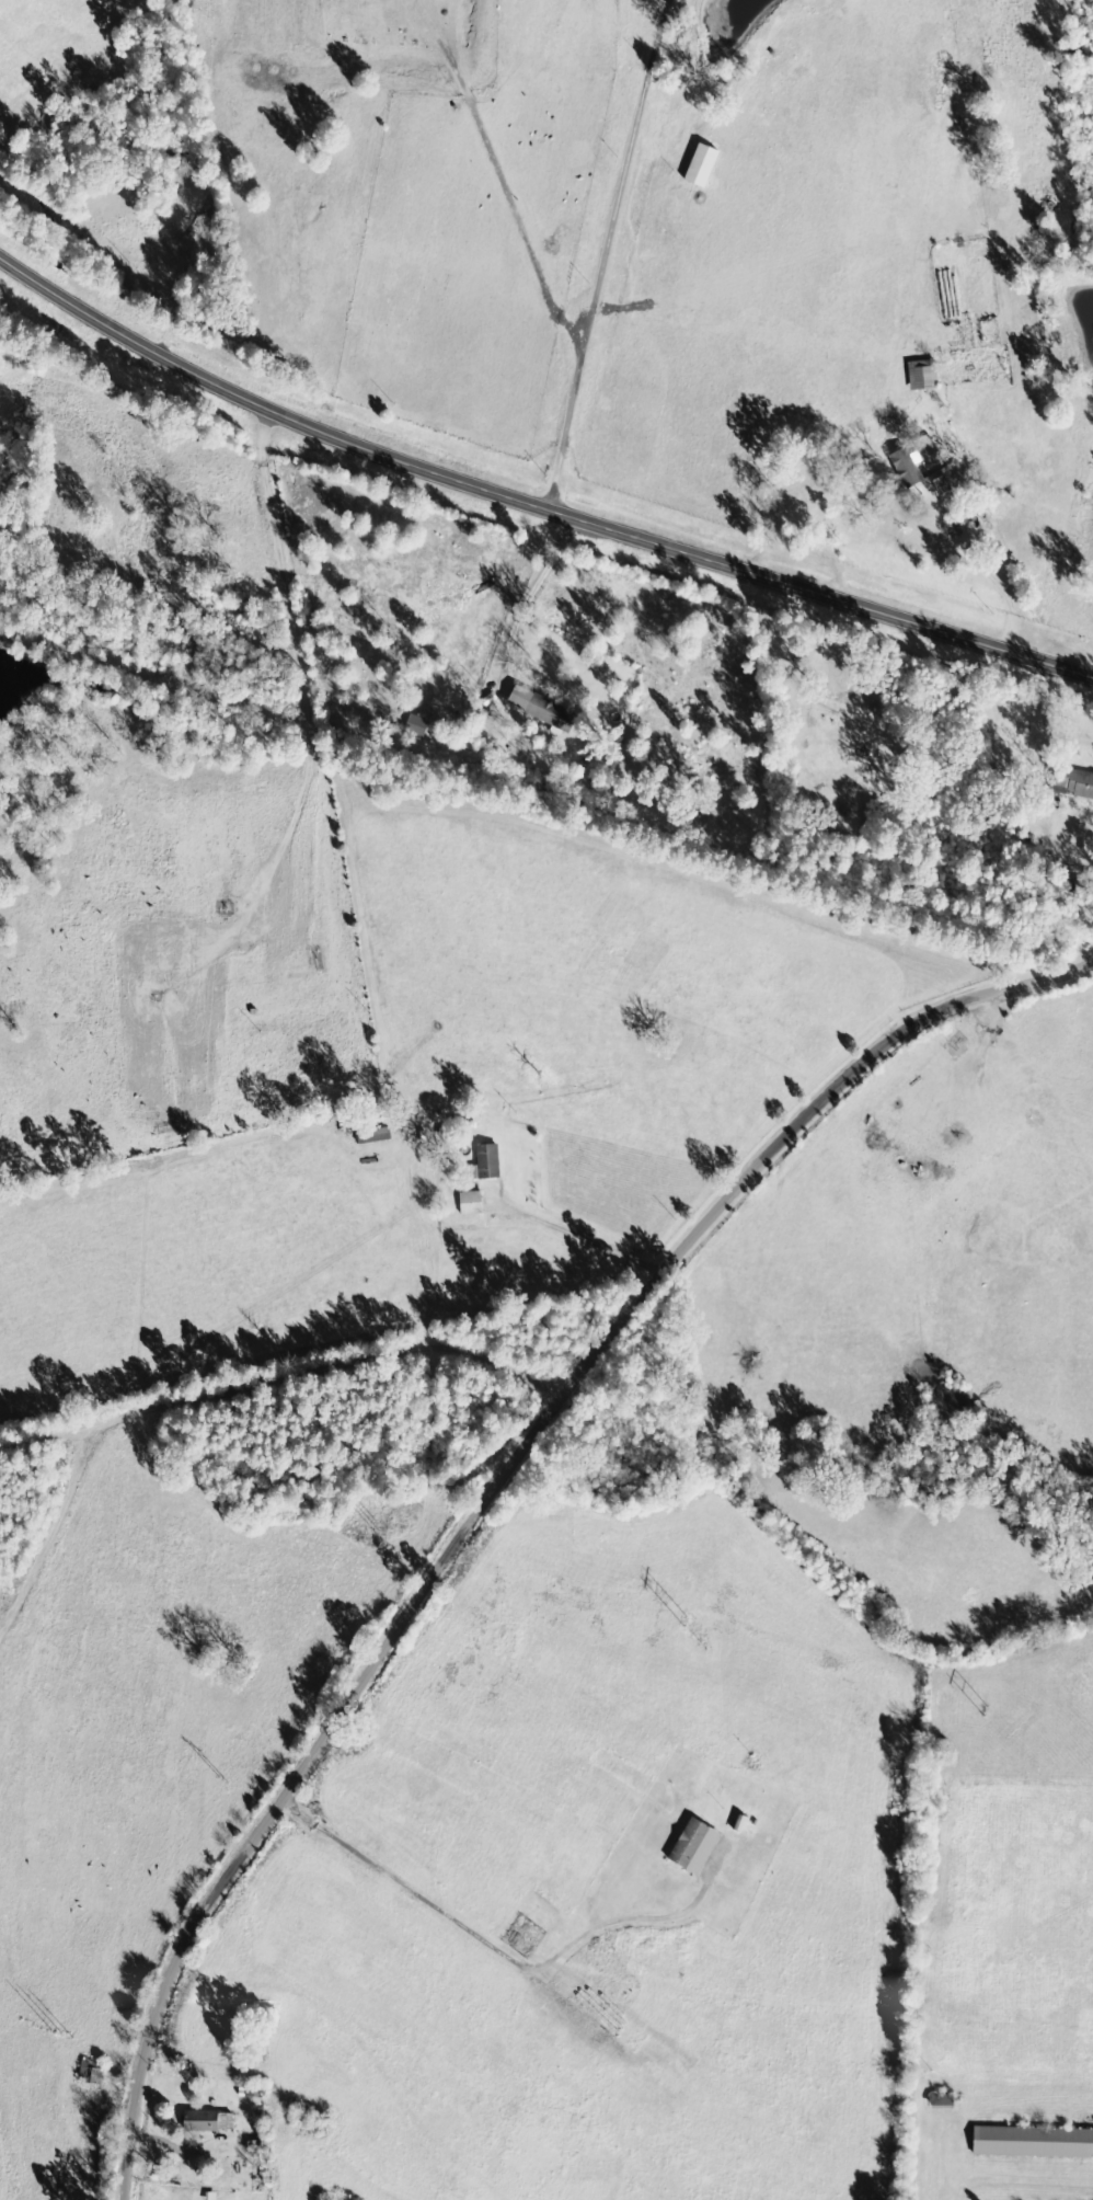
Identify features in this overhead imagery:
building: (705, 165)
building: (927, 374)
building: (910, 468)
road: (530, 503)
building: (546, 709)
building: (421, 726)
building: (1074, 781)
railway: (546, 797)
building: (491, 1162)
building: (474, 1203)
road: (276, 1389)
road: (507, 1503)
power tower: (368, 1532)
power tower: (677, 1620)
power tower: (982, 1710)
power tower: (215, 1779)
building: (699, 1845)
power tower: (51, 2032)
building: (946, 2101)
building: (212, 2121)
building: (1035, 2142)

